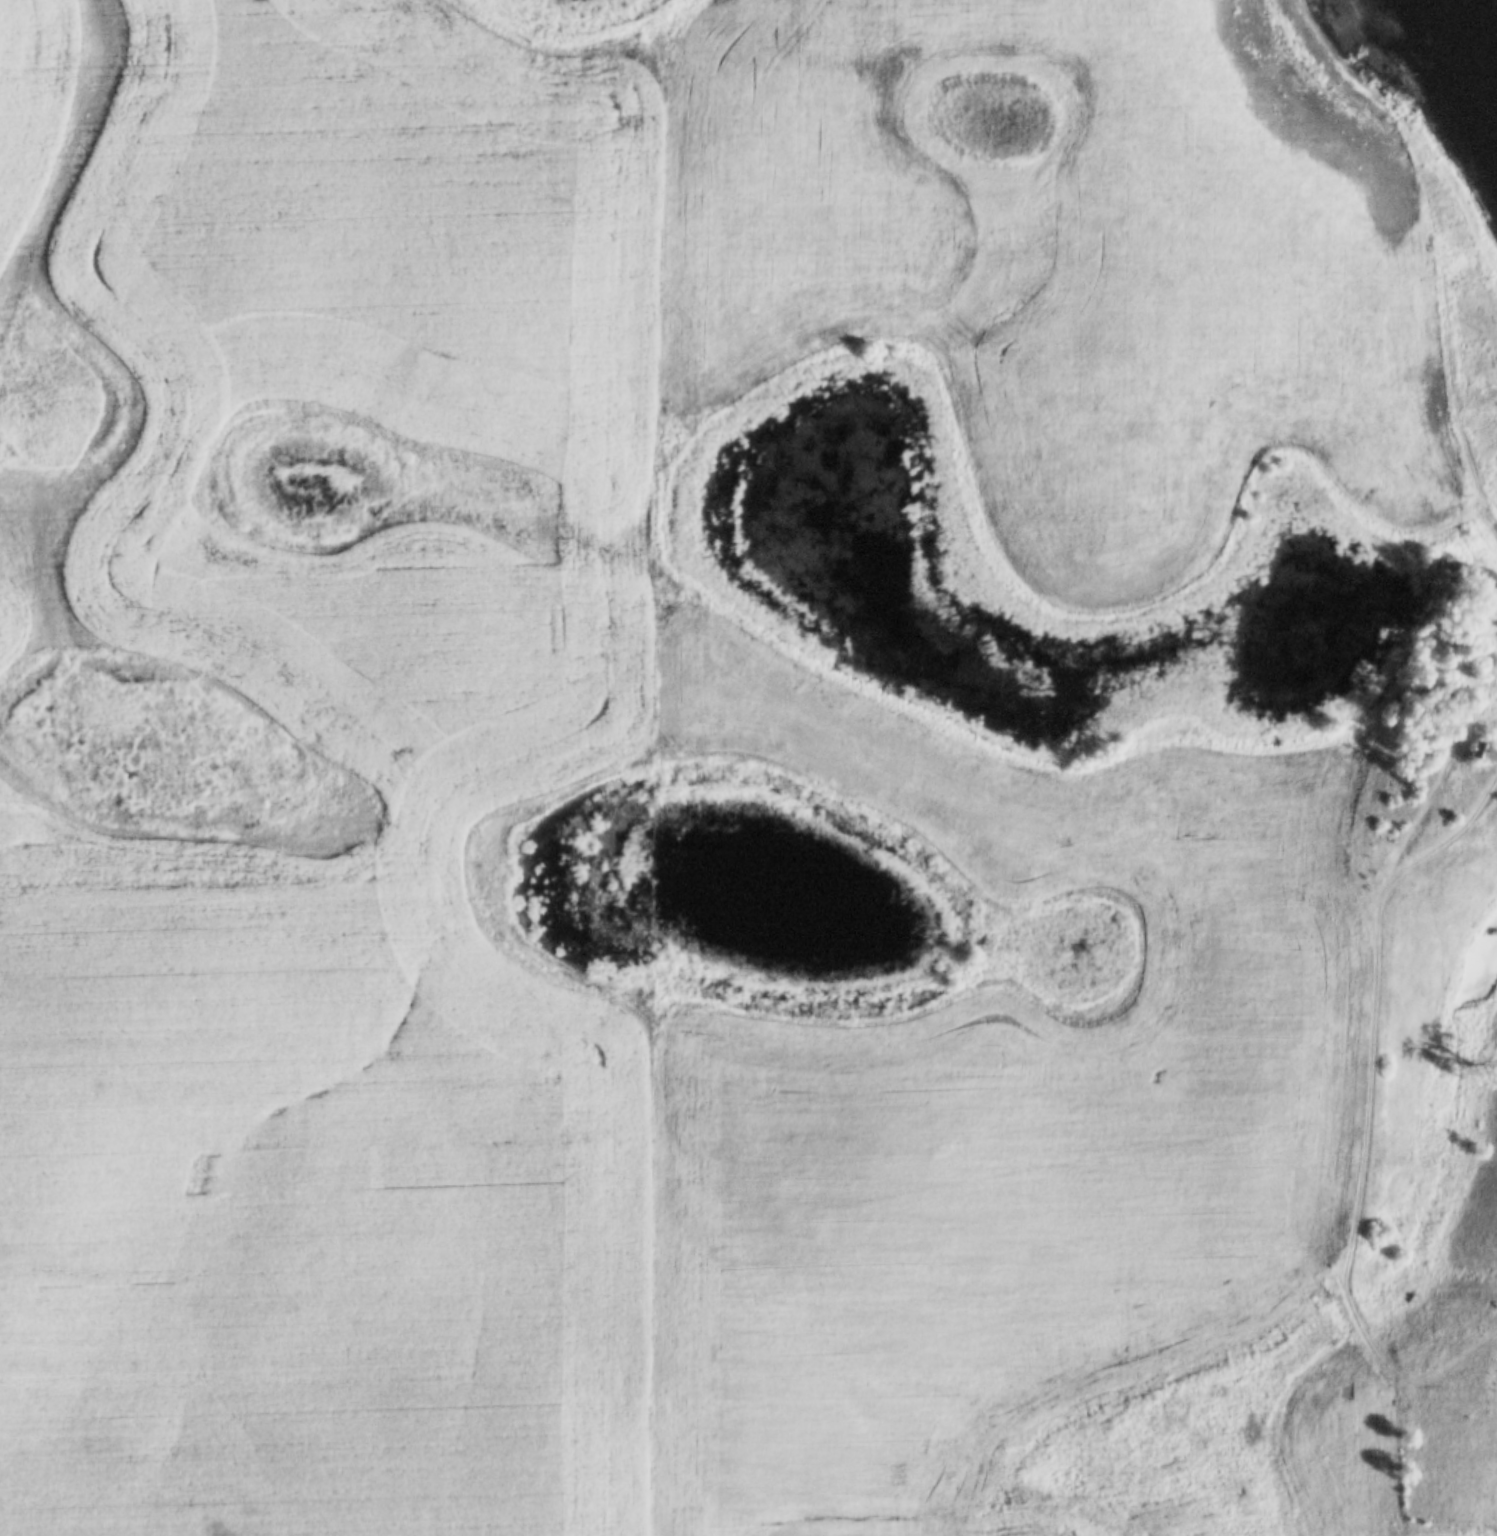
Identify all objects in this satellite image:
road: (1455, 262)
building: (1480, 753)
road: (1493, 793)

